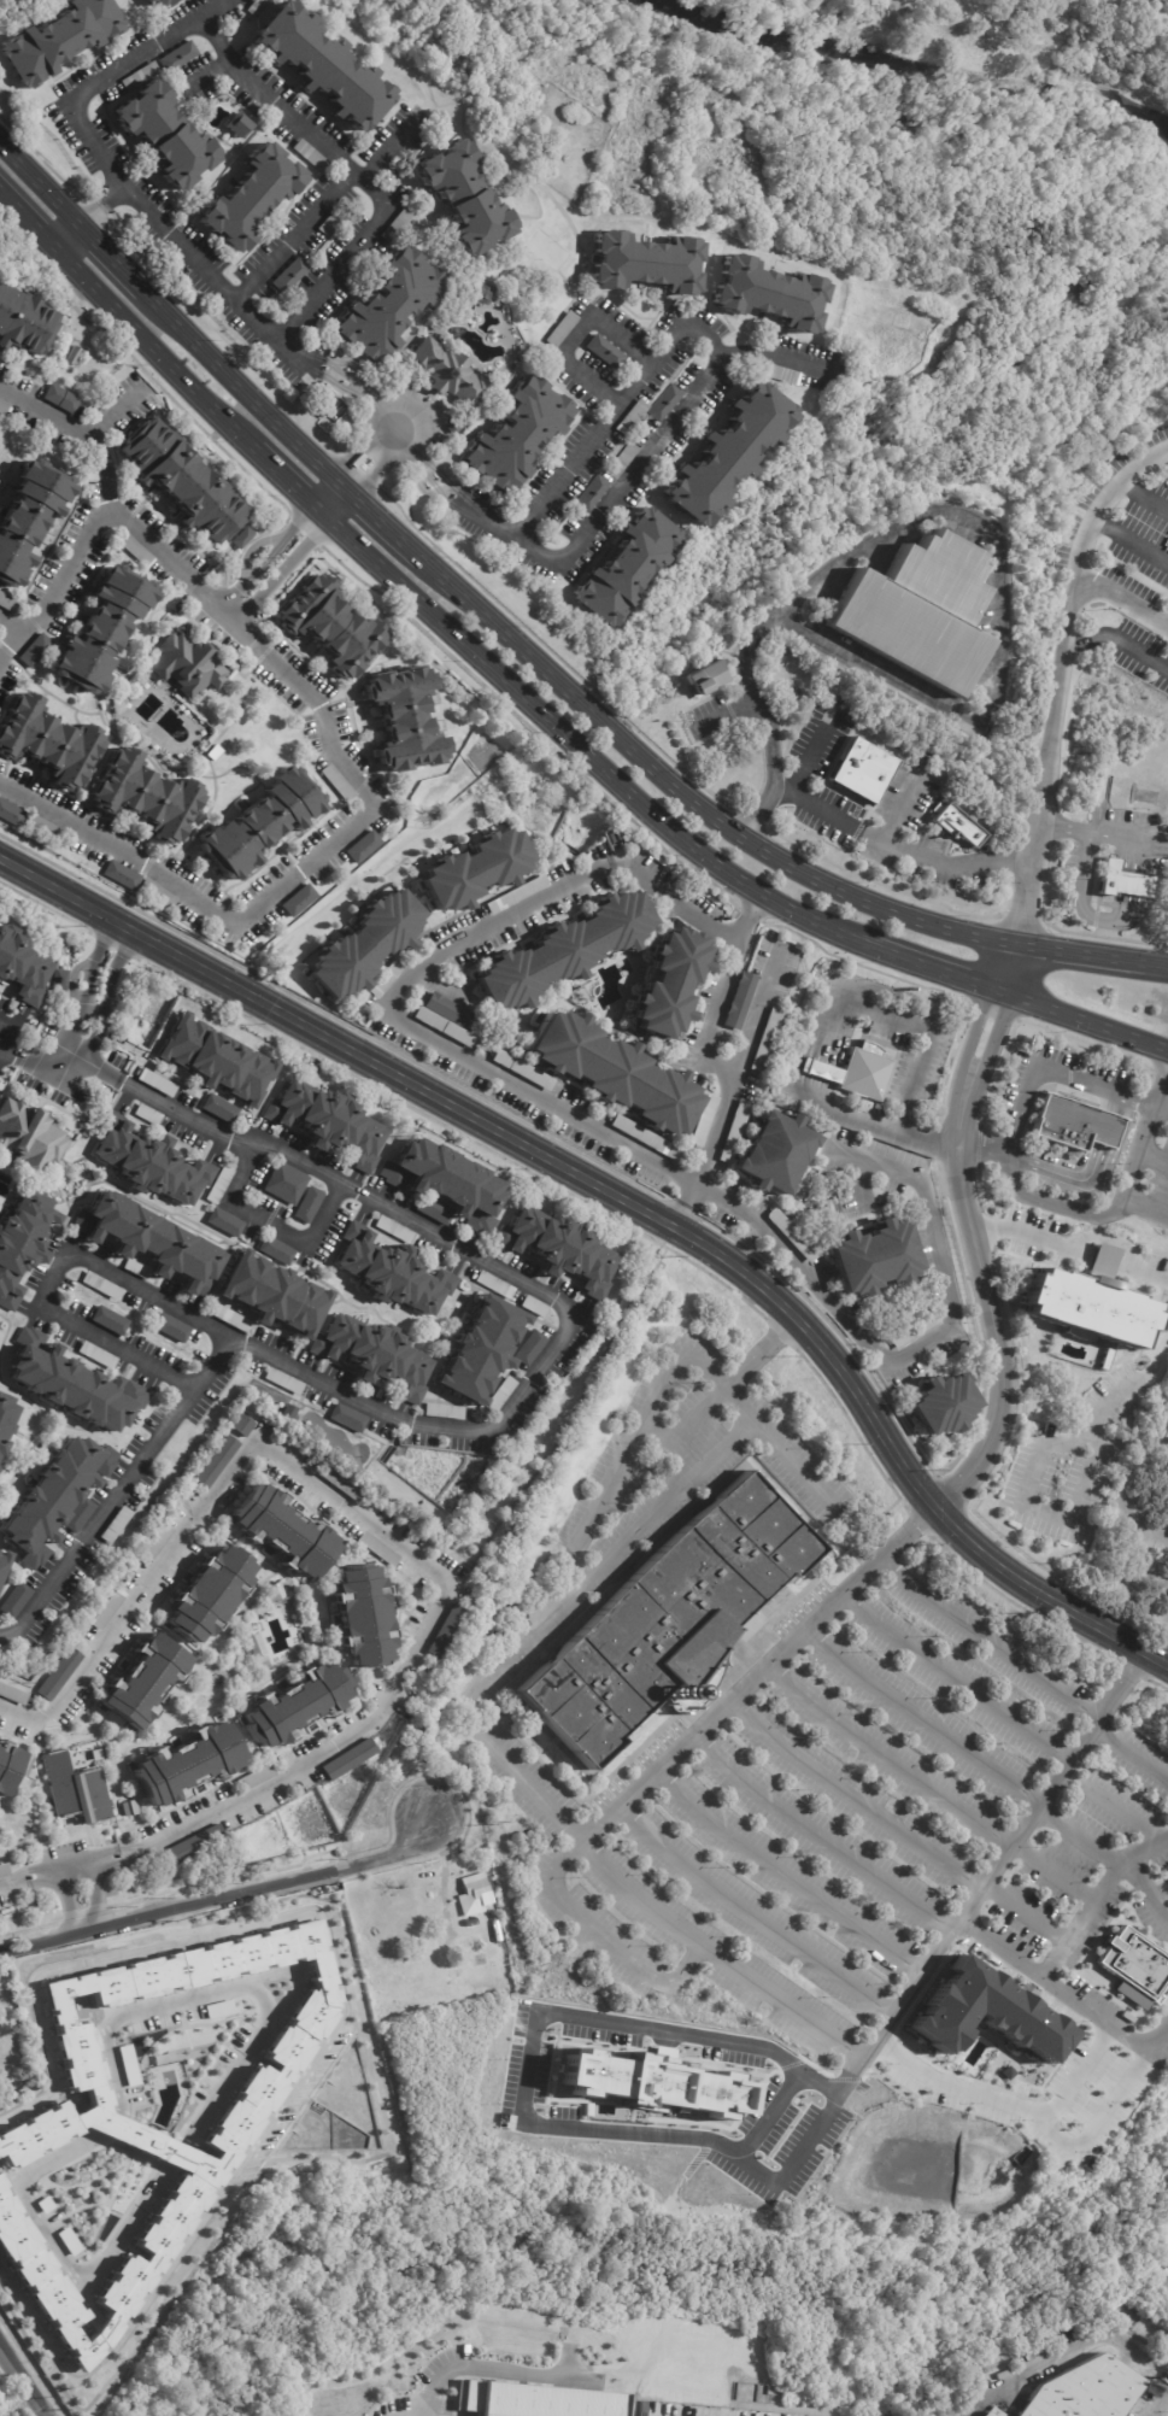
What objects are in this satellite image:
building: (1164, 1)
building: (163, 2)
building: (60, 40)
building: (178, 57)
building: (321, 66)
road: (101, 75)
building: (140, 77)
park: (935, 83)
building: (239, 125)
building: (164, 135)
road: (334, 152)
building: (311, 157)
road: (40, 186)
building: (251, 199)
building: (465, 199)
road: (93, 215)
road: (28, 221)
building: (333, 221)
building: (398, 225)
road: (69, 239)
road: (350, 252)
road: (112, 259)
building: (645, 264)
building: (289, 276)
road: (207, 277)
building: (482, 293)
building: (769, 294)
building: (391, 304)
building: (23, 321)
building: (562, 330)
road: (700, 336)
road: (574, 338)
road: (157, 348)
building: (604, 353)
building: (74, 354)
road: (780, 356)
building: (447, 375)
building: (782, 376)
road: (352, 385)
road: (247, 393)
building: (324, 397)
building: (60, 398)
building: (664, 404)
building: (2, 406)
road: (415, 416)
building: (632, 418)
building: (456, 427)
building: (516, 438)
road: (363, 445)
building: (728, 456)
building: (623, 461)
road: (381, 465)
road: (436, 471)
building: (181, 480)
road: (293, 483)
road: (323, 491)
building: (593, 494)
road: (1144, 495)
road: (341, 508)
road: (96, 514)
road: (963, 514)
road: (1094, 515)
building: (28, 517)
road: (387, 526)
building: (241, 536)
road: (149, 539)
road: (1131, 543)
building: (135, 551)
road: (266, 555)
building: (628, 569)
road: (283, 570)
road: (1122, 598)
road: (216, 602)
building: (7, 603)
building: (918, 610)
road: (12, 626)
building: (331, 627)
building: (102, 629)
road: (247, 634)
road: (1115, 638)
building: (35, 650)
building: (186, 664)
building: (705, 678)
building: (404, 720)
building: (46, 741)
road: (585, 752)
road: (806, 763)
building: (862, 769)
road: (1043, 776)
building: (336, 781)
building: (143, 797)
road: (689, 798)
building: (10, 814)
building: (258, 823)
building: (957, 823)
building: (43, 827)
road: (1063, 827)
road: (856, 829)
building: (363, 846)
road: (955, 864)
building: (473, 869)
building: (121, 875)
building: (1123, 880)
road: (277, 889)
building: (158, 893)
building: (516, 895)
building: (298, 901)
building: (364, 944)
building: (563, 950)
road: (1073, 951)
road: (1149, 962)
road: (1009, 967)
building: (22, 968)
road: (935, 968)
building: (387, 977)
building: (58, 980)
building: (669, 983)
road: (110, 996)
road: (84, 998)
building: (740, 1001)
road: (756, 1013)
building: (446, 1019)
road: (1084, 1020)
road: (826, 1022)
building: (767, 1040)
road: (0, 1044)
road: (703, 1054)
road: (976, 1057)
building: (212, 1061)
road: (71, 1062)
building: (523, 1071)
building: (856, 1072)
building: (612, 1074)
road: (1031, 1074)
building: (155, 1083)
road: (1160, 1107)
building: (219, 1109)
building: (147, 1114)
building: (704, 1121)
building: (328, 1122)
building: (1075, 1125)
building: (734, 1131)
road: (616, 1137)
building: (28, 1138)
building: (646, 1138)
building: (774, 1154)
building: (151, 1163)
building: (446, 1183)
building: (284, 1184)
building: (219, 1185)
road: (1115, 1200)
road: (632, 1202)
building: (307, 1206)
building: (432, 1209)
road: (1141, 1209)
road: (680, 1213)
building: (225, 1222)
road: (272, 1225)
building: (394, 1230)
road: (1021, 1235)
building: (792, 1236)
road: (1076, 1242)
building: (149, 1243)
building: (20, 1244)
building: (558, 1250)
building: (275, 1251)
building: (1104, 1253)
building: (874, 1260)
building: (392, 1273)
road: (1152, 1273)
road: (58, 1277)
building: (494, 1285)
building: (100, 1286)
building: (268, 1297)
building: (534, 1307)
building: (1086, 1307)
building: (108, 1321)
road: (993, 1325)
building: (171, 1329)
building: (916, 1332)
building: (529, 1349)
building: (479, 1353)
building: (374, 1355)
building: (96, 1356)
building: (283, 1382)
road: (1127, 1390)
building: (74, 1391)
building: (500, 1396)
road: (739, 1402)
building: (943, 1407)
building: (444, 1412)
building: (5, 1417)
building: (347, 1419)
building: (243, 1425)
road: (492, 1430)
building: (0, 1446)
road: (715, 1456)
building: (217, 1462)
building: (341, 1484)
building: (54, 1497)
road: (1039, 1512)
building: (77, 1515)
building: (115, 1525)
building: (284, 1531)
building: (159, 1542)
building: (378, 1550)
park: (1126, 1550)
road: (575, 1552)
road: (409, 1555)
building: (2, 1562)
building: (209, 1594)
building: (274, 1594)
building: (14, 1601)
building: (108, 1609)
building: (364, 1617)
building: (668, 1622)
building: (448, 1634)
road: (985, 1637)
building: (256, 1647)
building: (59, 1675)
road: (951, 1677)
building: (143, 1683)
building: (12, 1695)
building: (295, 1706)
road: (28, 1718)
road: (916, 1718)
road: (1128, 1752)
building: (96, 1757)
building: (353, 1760)
building: (188, 1765)
building: (7, 1766)
building: (254, 1779)
road: (926, 1784)
building: (76, 1794)
road: (1109, 1802)
building: (129, 1810)
parking lot: (838, 1812)
road: (892, 1824)
road: (1076, 1831)
road: (816, 1834)
building: (196, 1845)
parking lot: (1072, 1859)
road: (71, 1867)
building: (4, 1871)
road: (783, 1872)
road: (28, 1878)
road: (1144, 1886)
road: (95, 1894)
road: (222, 1895)
building: (474, 1895)
road: (1093, 1895)
road: (64, 1902)
road: (749, 1914)
building: (479, 1925)
road: (605, 1937)
road: (716, 1954)
building: (1137, 1968)
road: (1066, 1998)
building: (984, 2011)
road: (339, 2034)
road: (527, 2098)
road: (774, 2098)
road: (1004, 2100)
building: (148, 2121)
road: (1100, 2127)
road: (657, 2335)
road: (1064, 2356)
road: (492, 2365)
road: (24, 2379)
building: (1084, 2392)
building: (534, 2400)
road: (1154, 2403)
building: (693, 2411)
building: (987, 2415)

